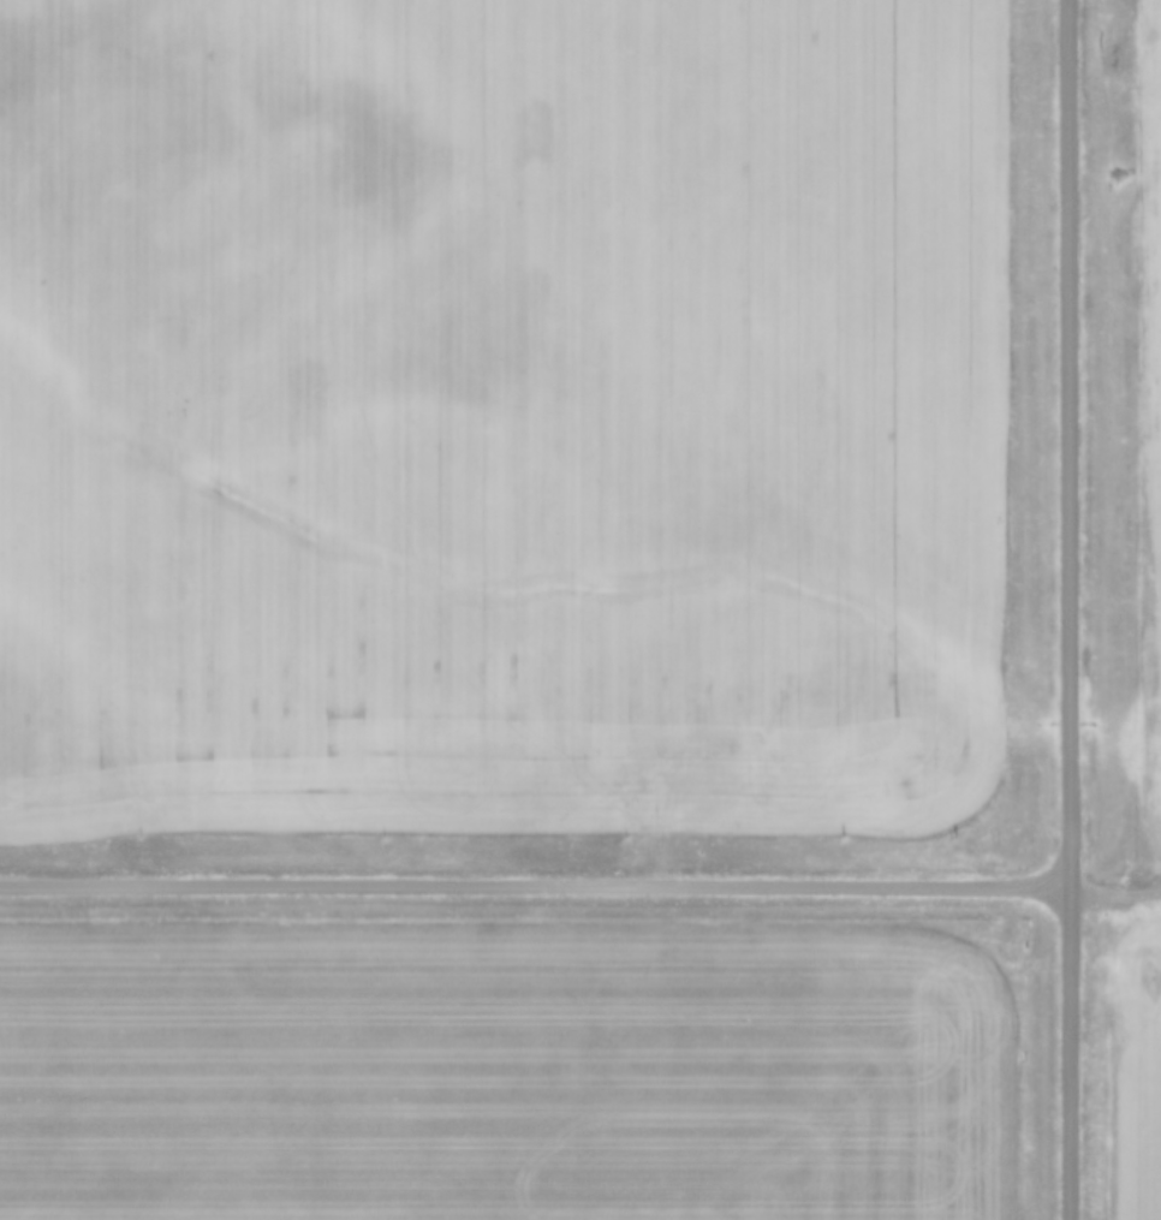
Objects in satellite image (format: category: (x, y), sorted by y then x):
road: (1074, 609)
road: (537, 883)
road: (1119, 906)

